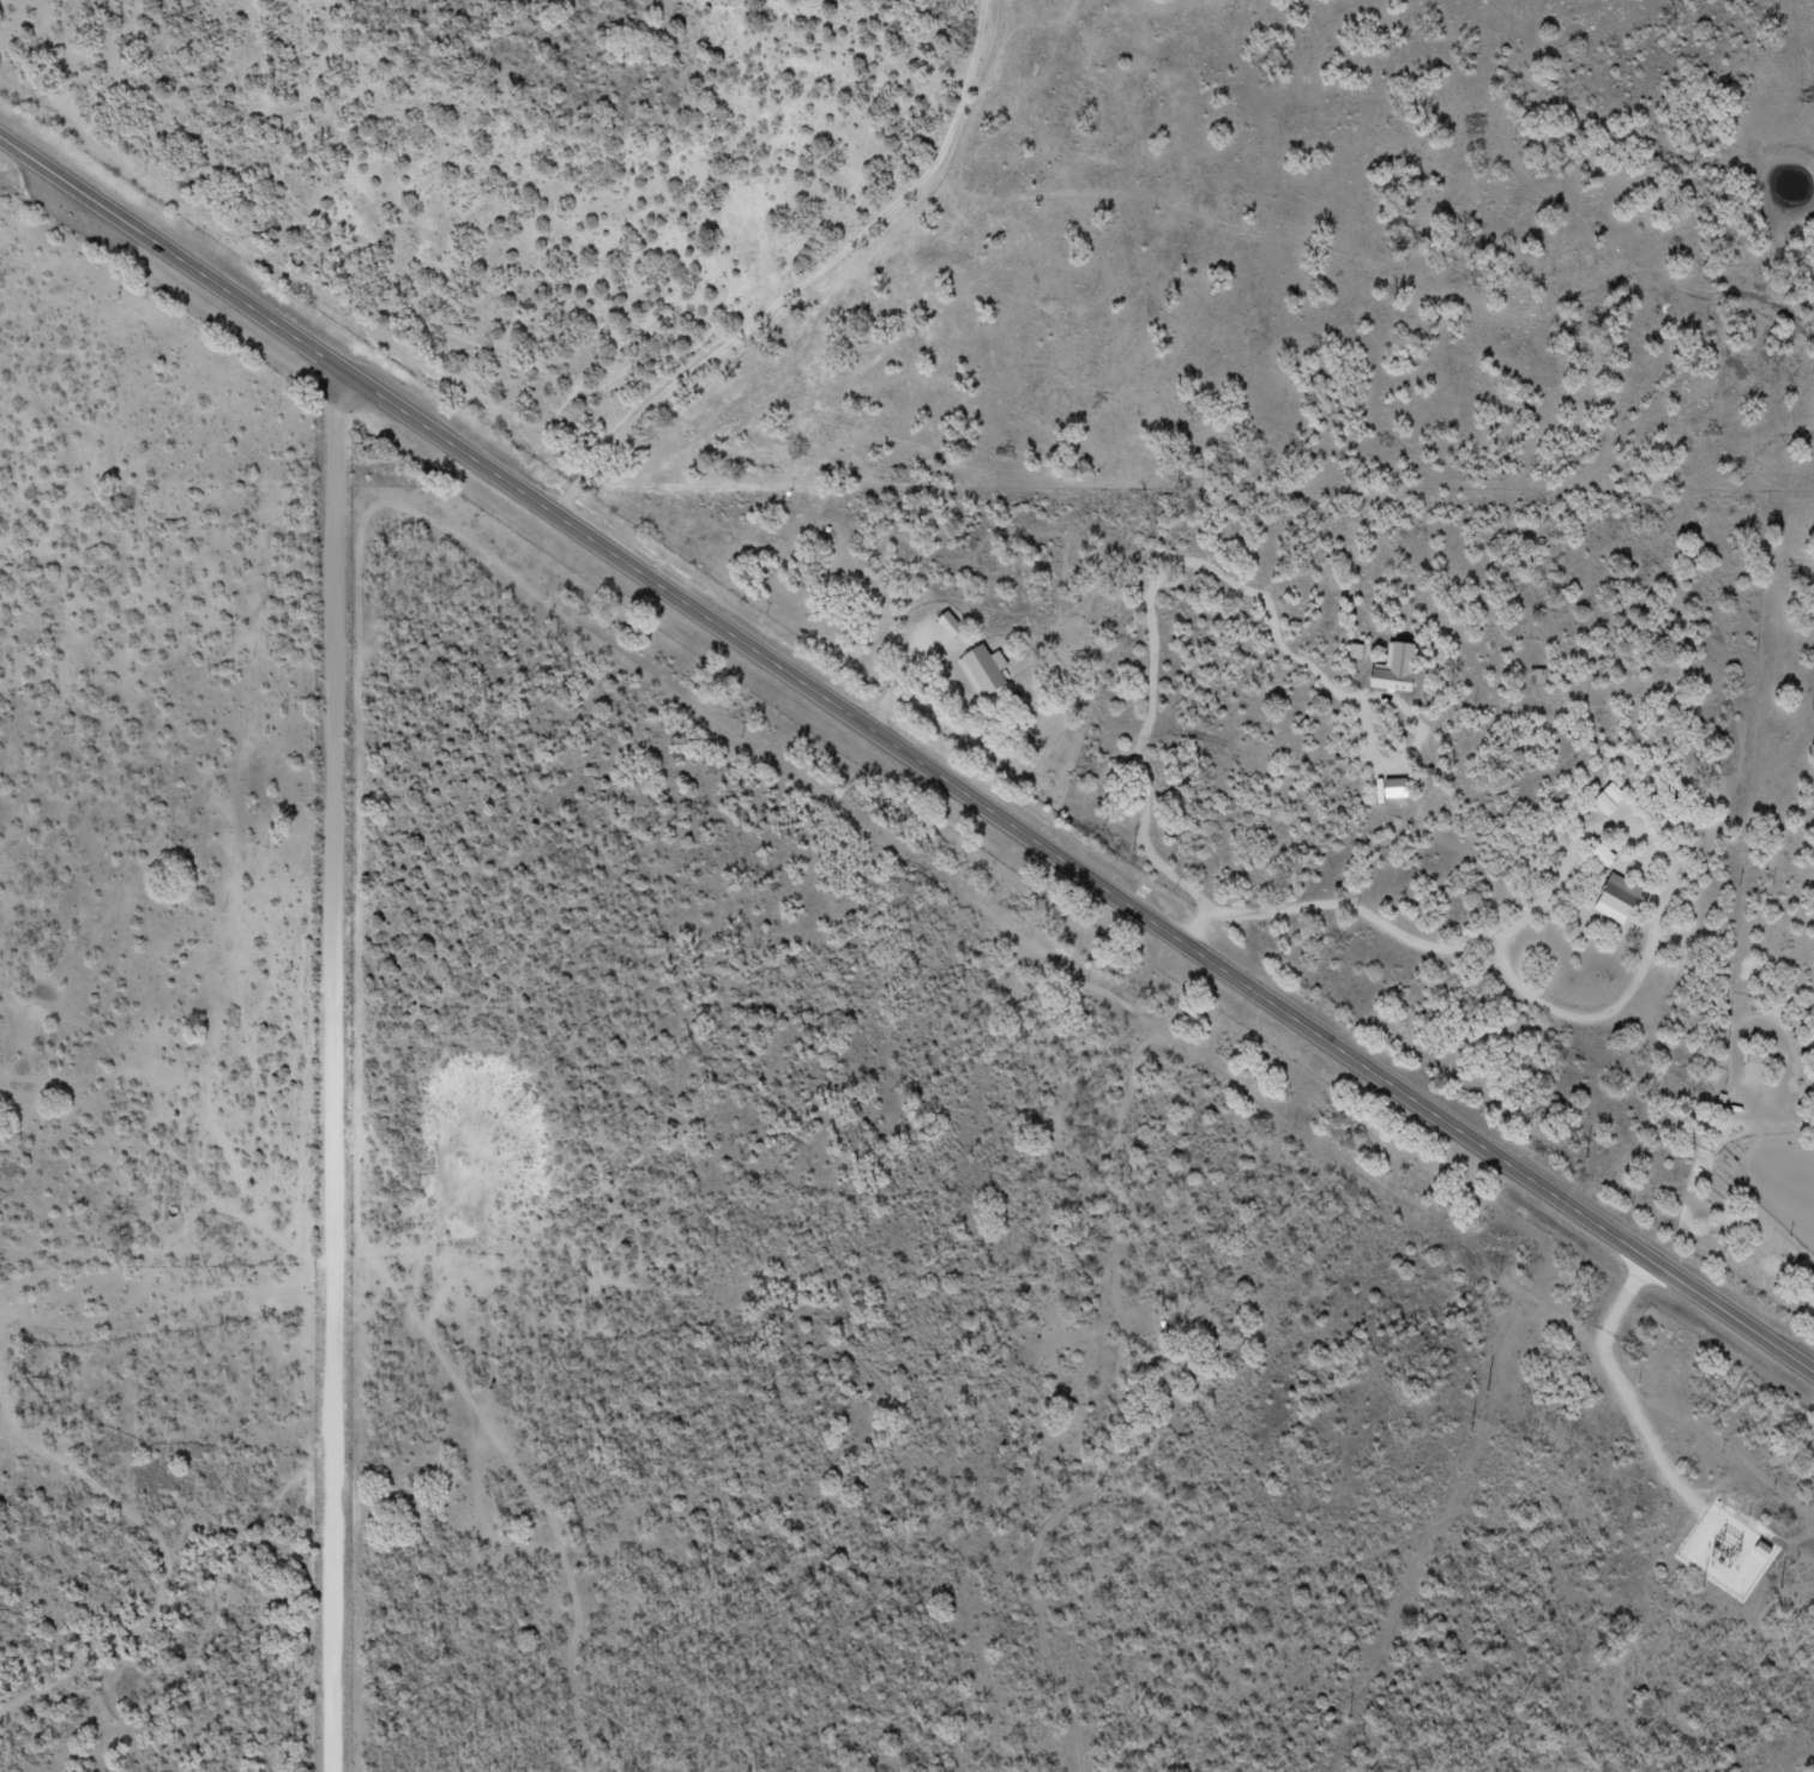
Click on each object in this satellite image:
road: (819, 281)
building: (986, 674)
road: (1465, 727)
road: (904, 760)
building: (1611, 800)
building: (1603, 857)
building: (1619, 900)
road: (337, 1068)
building: (1759, 1068)
power substation: (1724, 1553)

